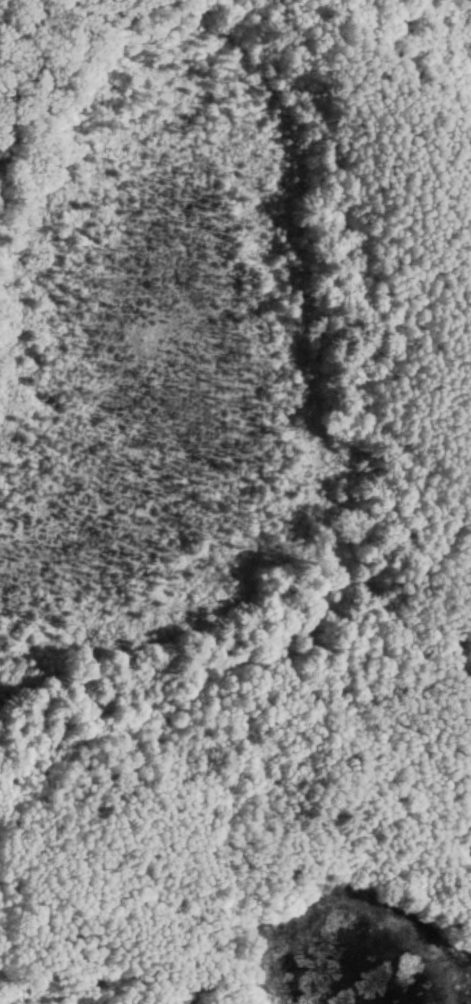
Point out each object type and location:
road: (407, 140)
road: (458, 714)

